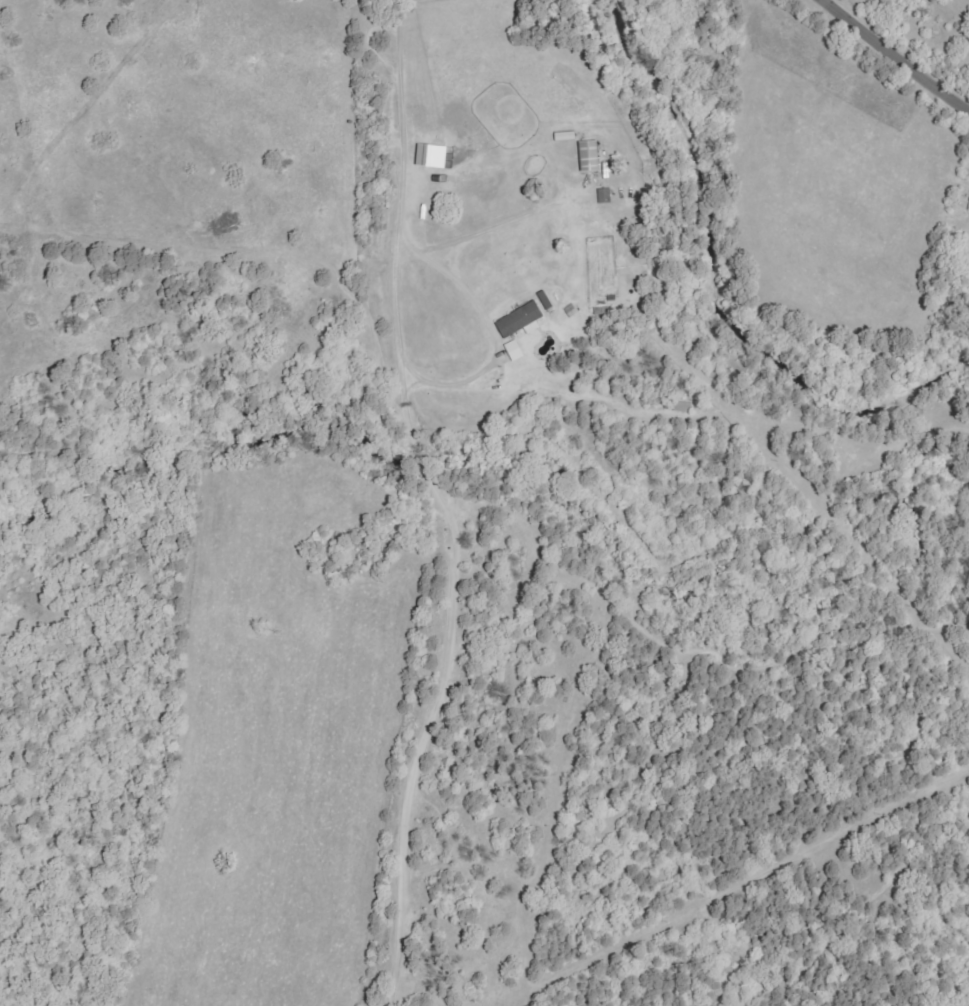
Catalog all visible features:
road: (896, 54)
building: (436, 157)
building: (523, 321)
building: (518, 350)
road: (458, 499)

